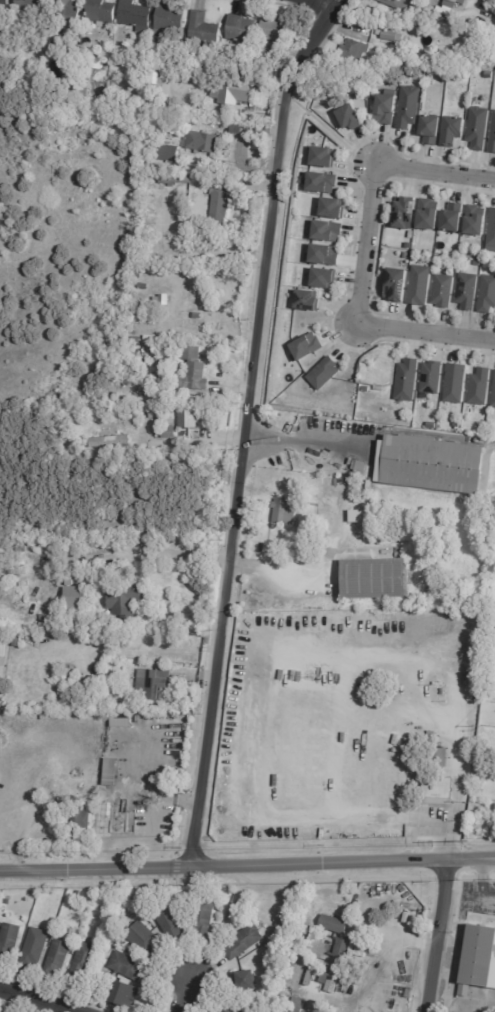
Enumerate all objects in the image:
building: (450, 3)
building: (395, 4)
building: (7, 5)
building: (35, 5)
road: (310, 5)
building: (102, 11)
building: (72, 13)
building: (424, 15)
building: (135, 17)
building: (171, 21)
building: (205, 29)
building: (243, 29)
building: (279, 32)
building: (387, 37)
building: (54, 51)
building: (352, 51)
building: (188, 53)
building: (266, 53)
building: (157, 71)
building: (449, 82)
building: (84, 89)
building: (230, 92)
building: (383, 108)
building: (406, 108)
building: (347, 118)
building: (475, 129)
building: (427, 130)
building: (449, 131)
building: (491, 136)
building: (203, 142)
building: (168, 153)
building: (320, 158)
building: (176, 180)
building: (319, 184)
building: (202, 199)
building: (220, 209)
building: (327, 209)
building: (402, 214)
building: (426, 216)
building: (450, 220)
building: (472, 223)
building: (323, 232)
building: (490, 234)
building: (407, 246)
road: (361, 255)
building: (321, 256)
building: (405, 256)
building: (320, 279)
building: (394, 286)
building: (417, 287)
building: (144, 288)
building: (463, 290)
building: (441, 292)
building: (485, 296)
building: (304, 301)
building: (198, 317)
building: (138, 341)
building: (134, 347)
building: (304, 348)
building: (158, 362)
building: (197, 372)
building: (320, 374)
building: (430, 377)
building: (165, 379)
building: (405, 380)
building: (453, 383)
building: (478, 386)
building: (365, 389)
building: (493, 391)
building: (158, 415)
building: (191, 420)
road: (248, 428)
building: (171, 433)
building: (70, 439)
building: (111, 443)
road: (193, 443)
road: (305, 444)
building: (430, 464)
building: (357, 469)
building: (368, 484)
building: (355, 500)
building: (282, 512)
building: (357, 516)
building: (21, 549)
road: (136, 555)
building: (23, 574)
building: (371, 578)
building: (77, 598)
building: (129, 600)
building: (52, 621)
building: (492, 630)
building: (18, 641)
building: (46, 645)
building: (4, 649)
building: (71, 677)
building: (152, 686)
building: (81, 689)
building: (114, 703)
building: (113, 772)
road: (459, 776)
building: (434, 791)
building: (81, 824)
power tower: (463, 842)
road: (247, 865)
building: (204, 917)
building: (169, 921)
building: (334, 924)
road: (437, 935)
building: (297, 937)
building: (146, 939)
building: (10, 940)
building: (246, 941)
building: (340, 946)
building: (37, 947)
building: (58, 957)
building: (478, 957)
building: (85, 961)
building: (131, 965)
building: (250, 979)
building: (127, 993)
road: (183, 995)
road: (33, 1000)
building: (289, 1002)
building: (321, 1008)
building: (236, 1009)

